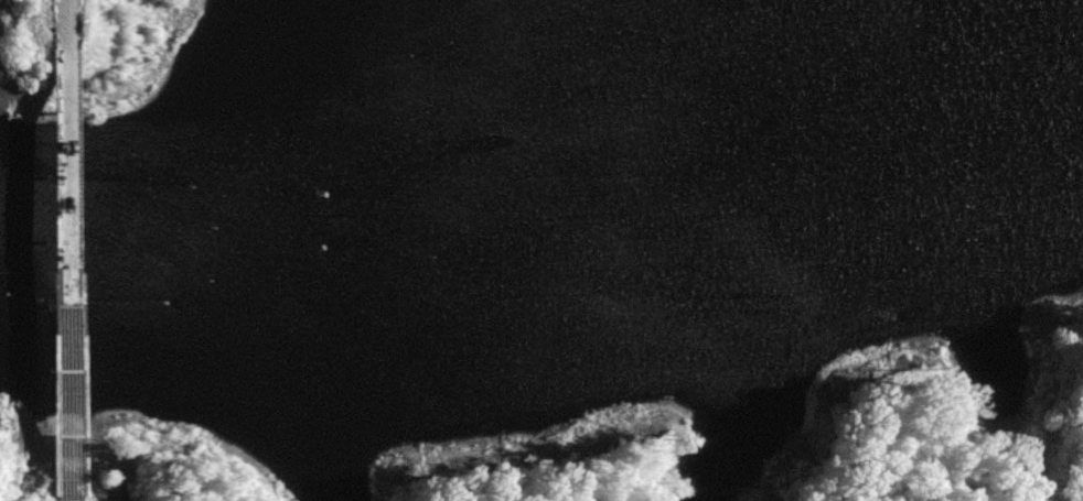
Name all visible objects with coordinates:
road: (66, 14)
river: (540, 257)
road: (69, 265)

